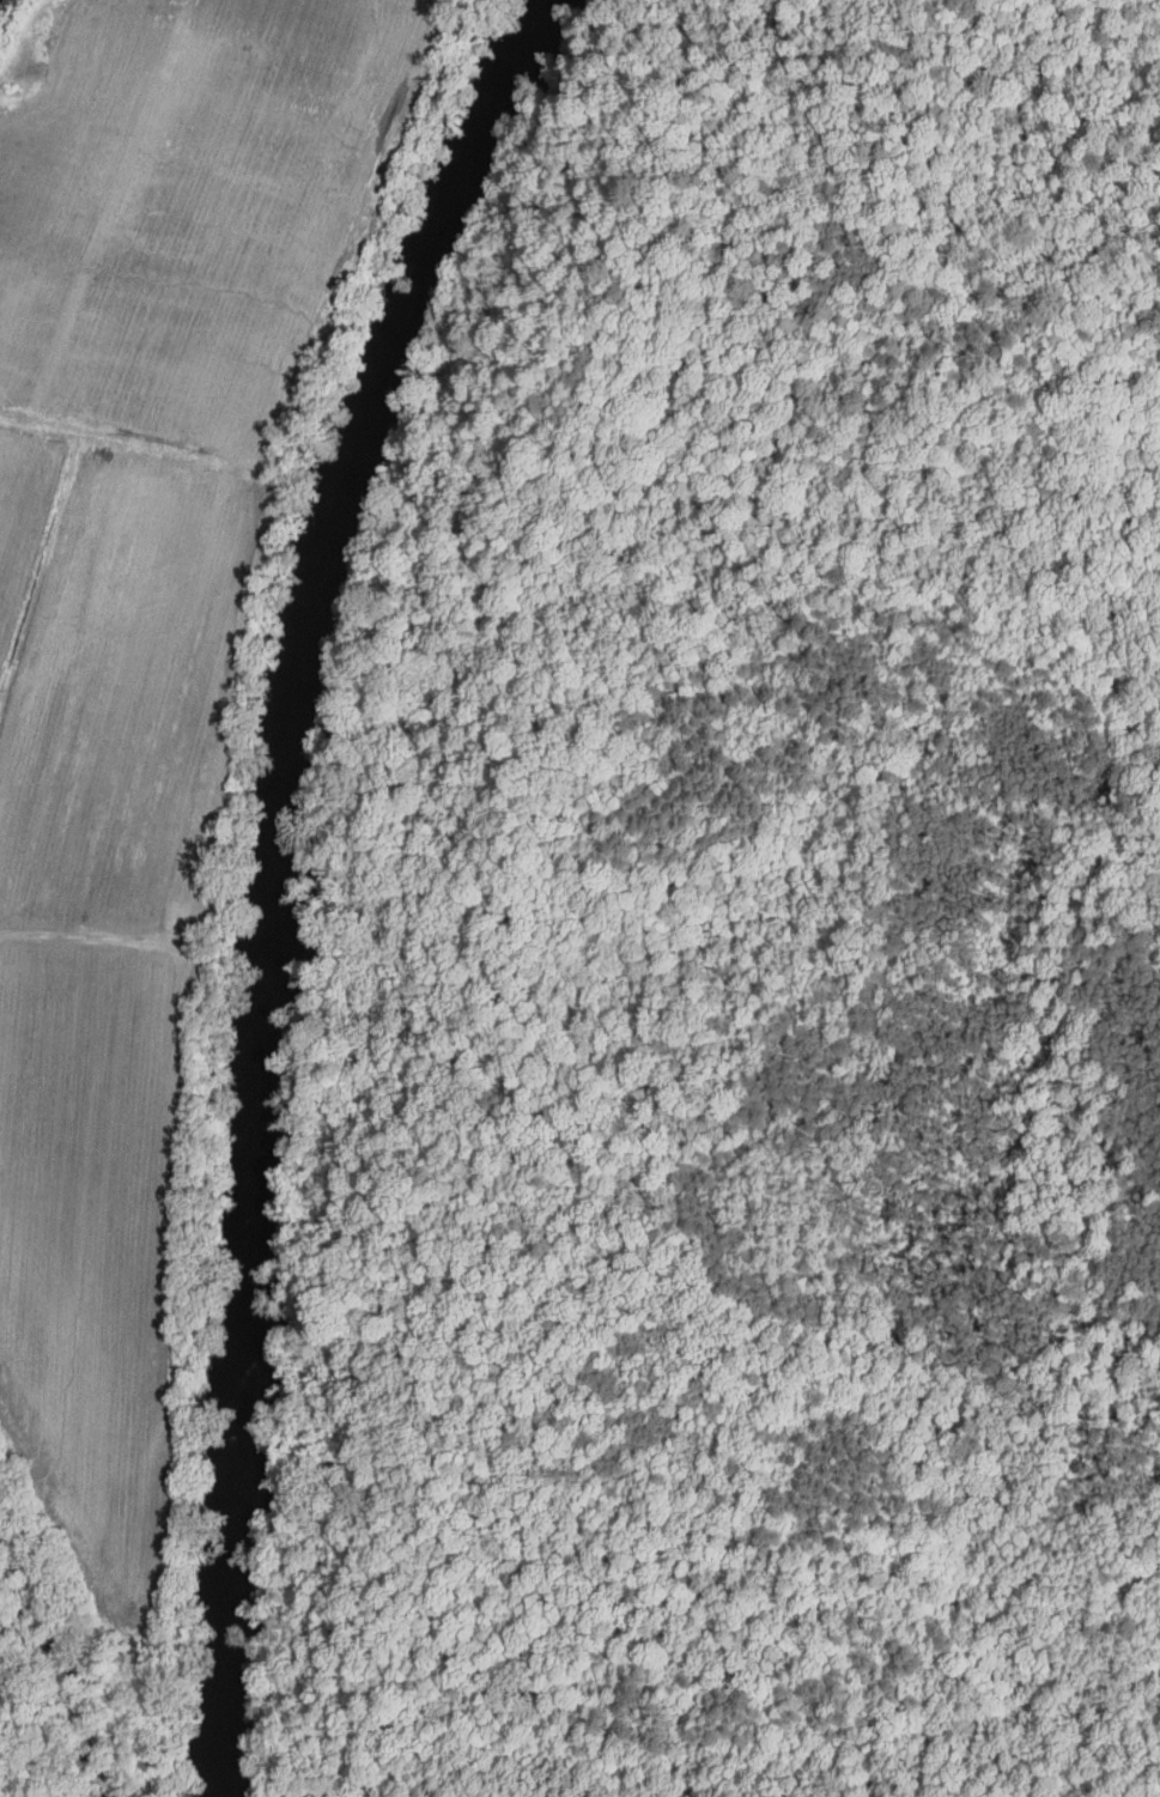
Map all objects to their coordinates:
river: (527, 26)
river: (279, 907)

